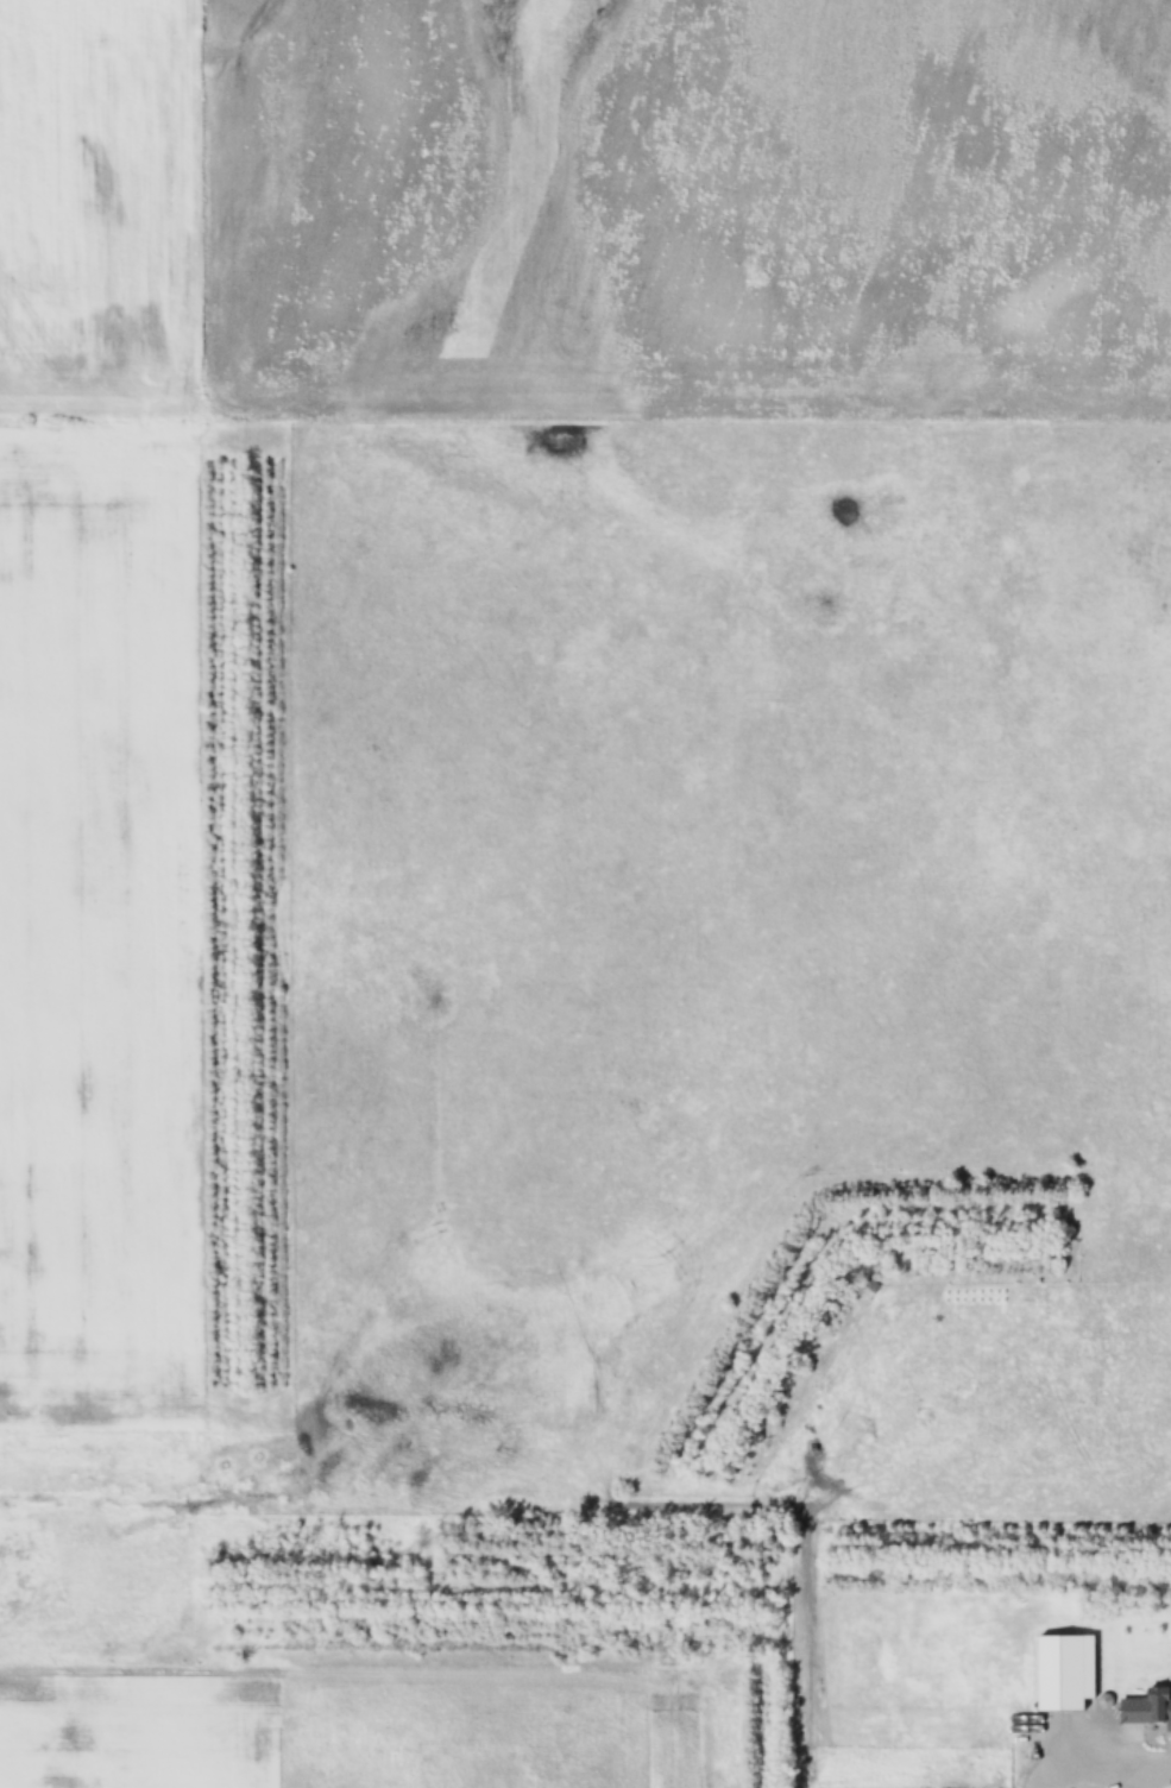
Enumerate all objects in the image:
building: (1068, 1673)
building: (1148, 1708)
road: (1114, 1765)
building: (997, 1768)

